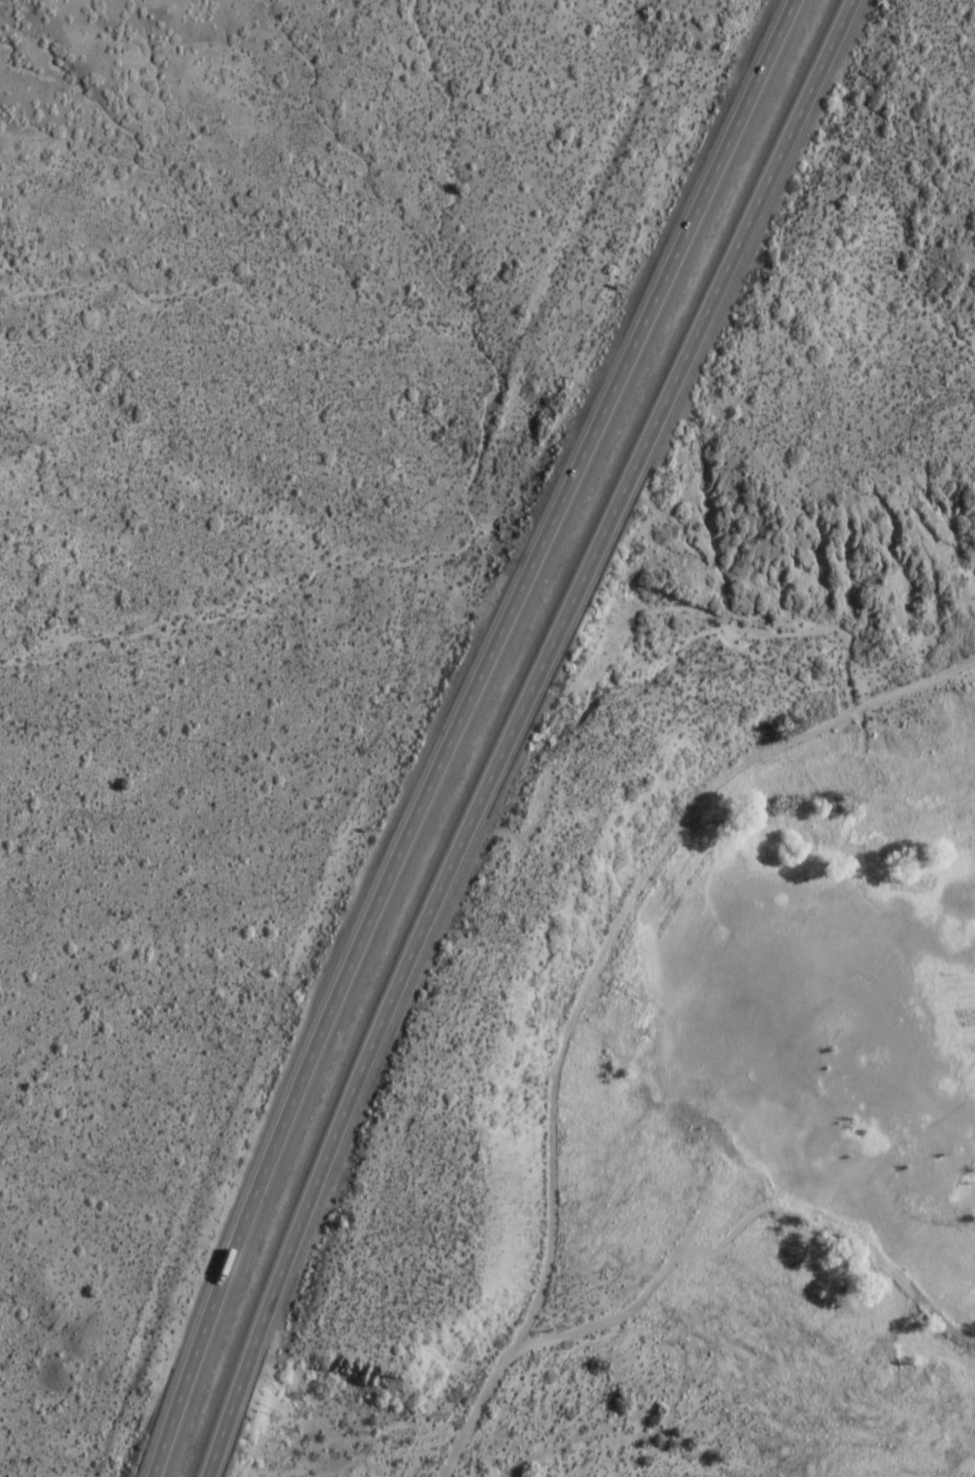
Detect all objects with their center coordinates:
road: (454, 730)
road: (511, 730)
road: (619, 917)
road: (867, 1242)
road: (572, 1332)

